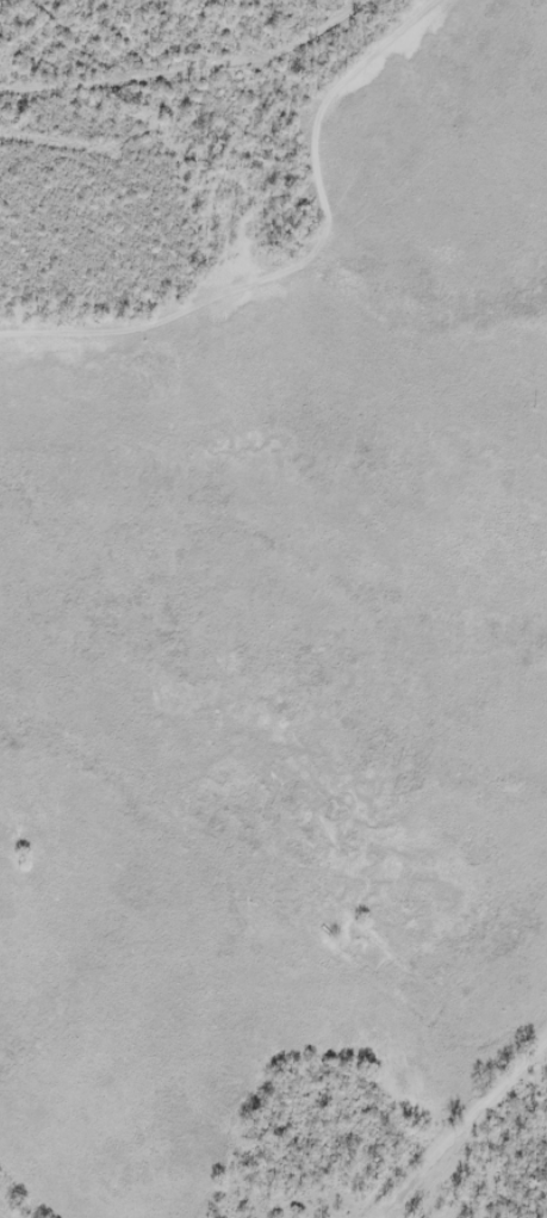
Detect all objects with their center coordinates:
road: (498, 1166)

